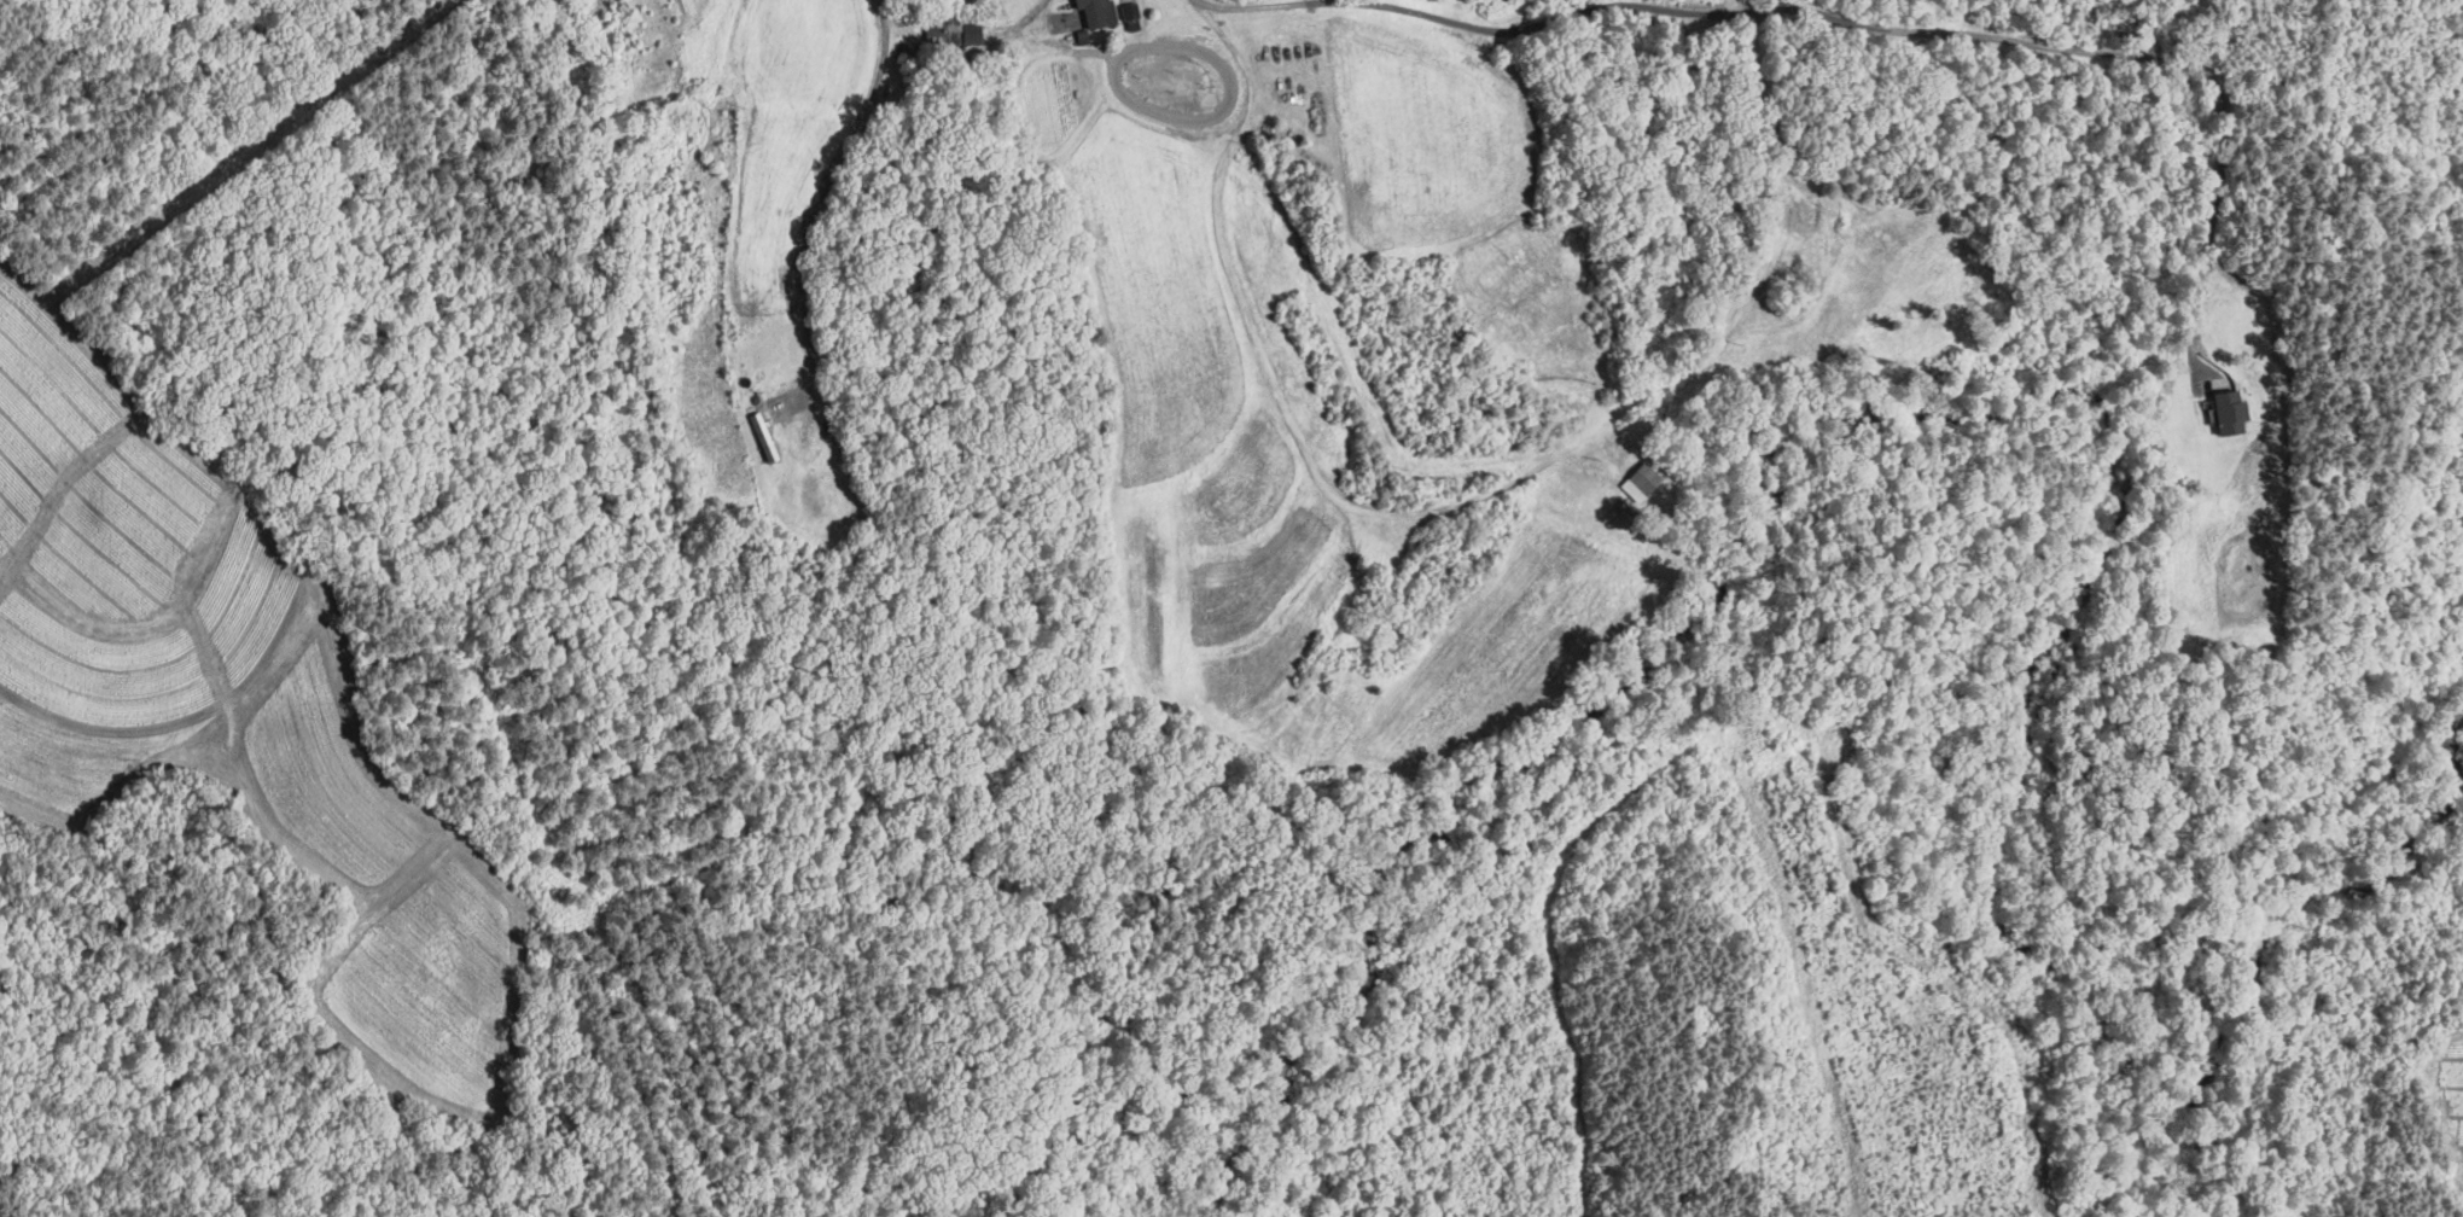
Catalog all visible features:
road: (1729, 7)
building: (1099, 11)
building: (1135, 11)
road: (1854, 22)
building: (978, 33)
road: (995, 35)
road: (1764, 89)
road: (823, 188)
road: (1285, 407)
building: (2224, 410)

